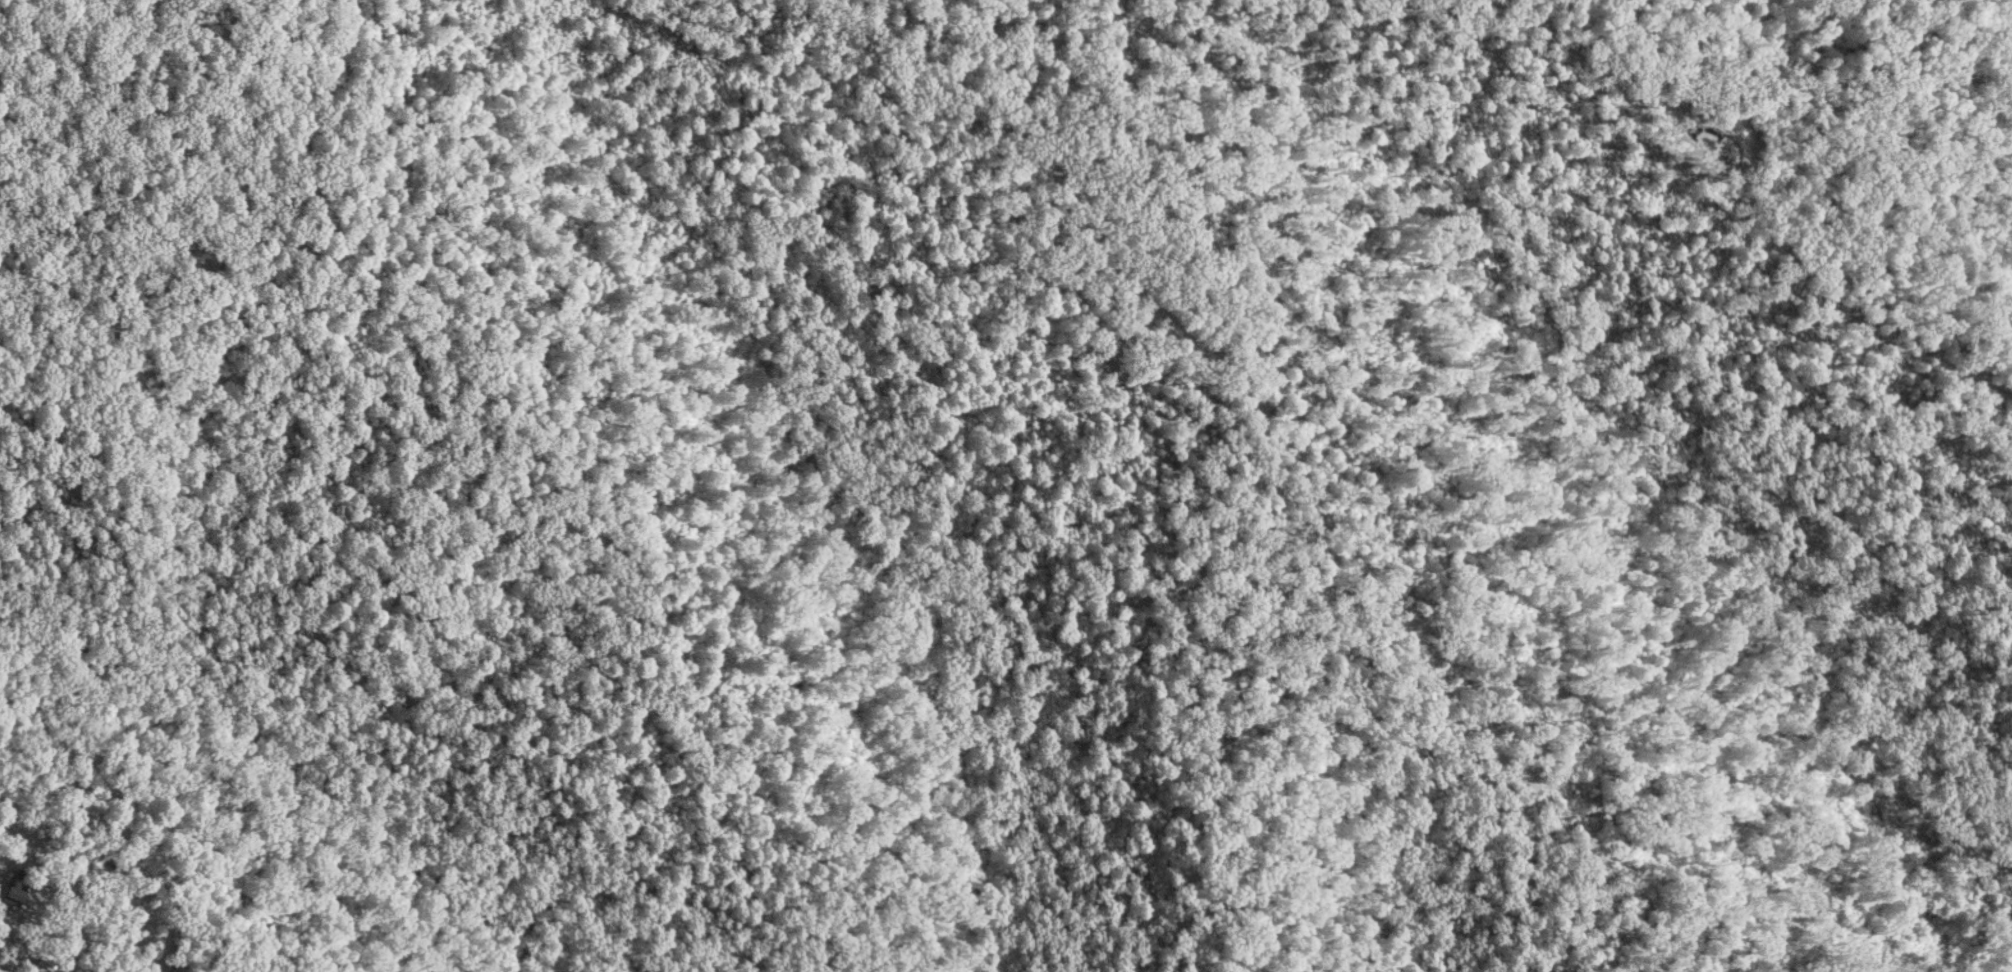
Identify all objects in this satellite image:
road: (66, 866)
building: (13, 891)

